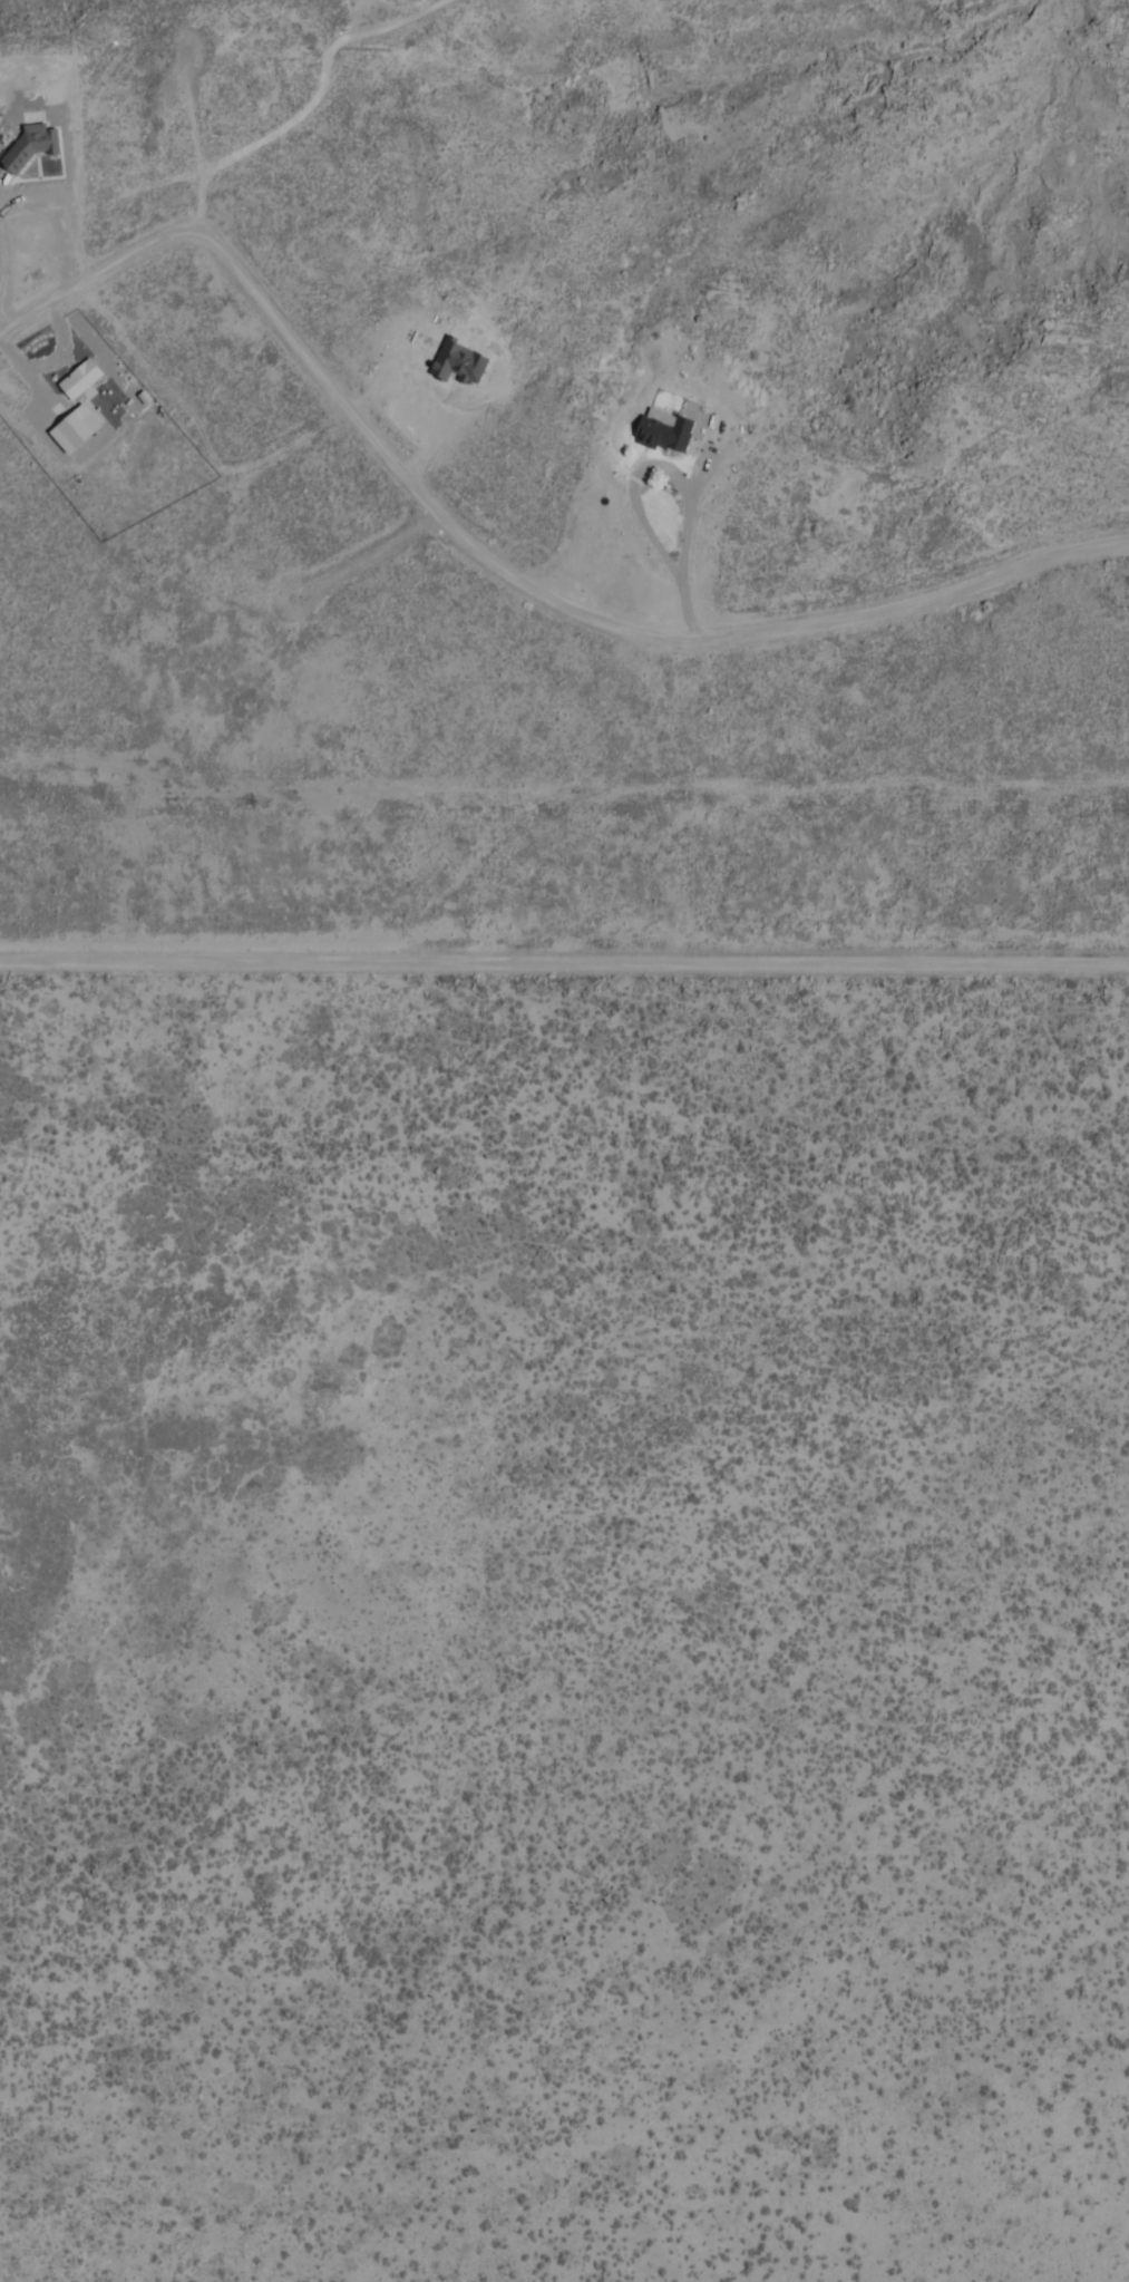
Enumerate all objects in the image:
building: (33, 146)
building: (79, 430)
building: (662, 430)
building: (146, 439)
road: (495, 559)
road: (564, 964)

